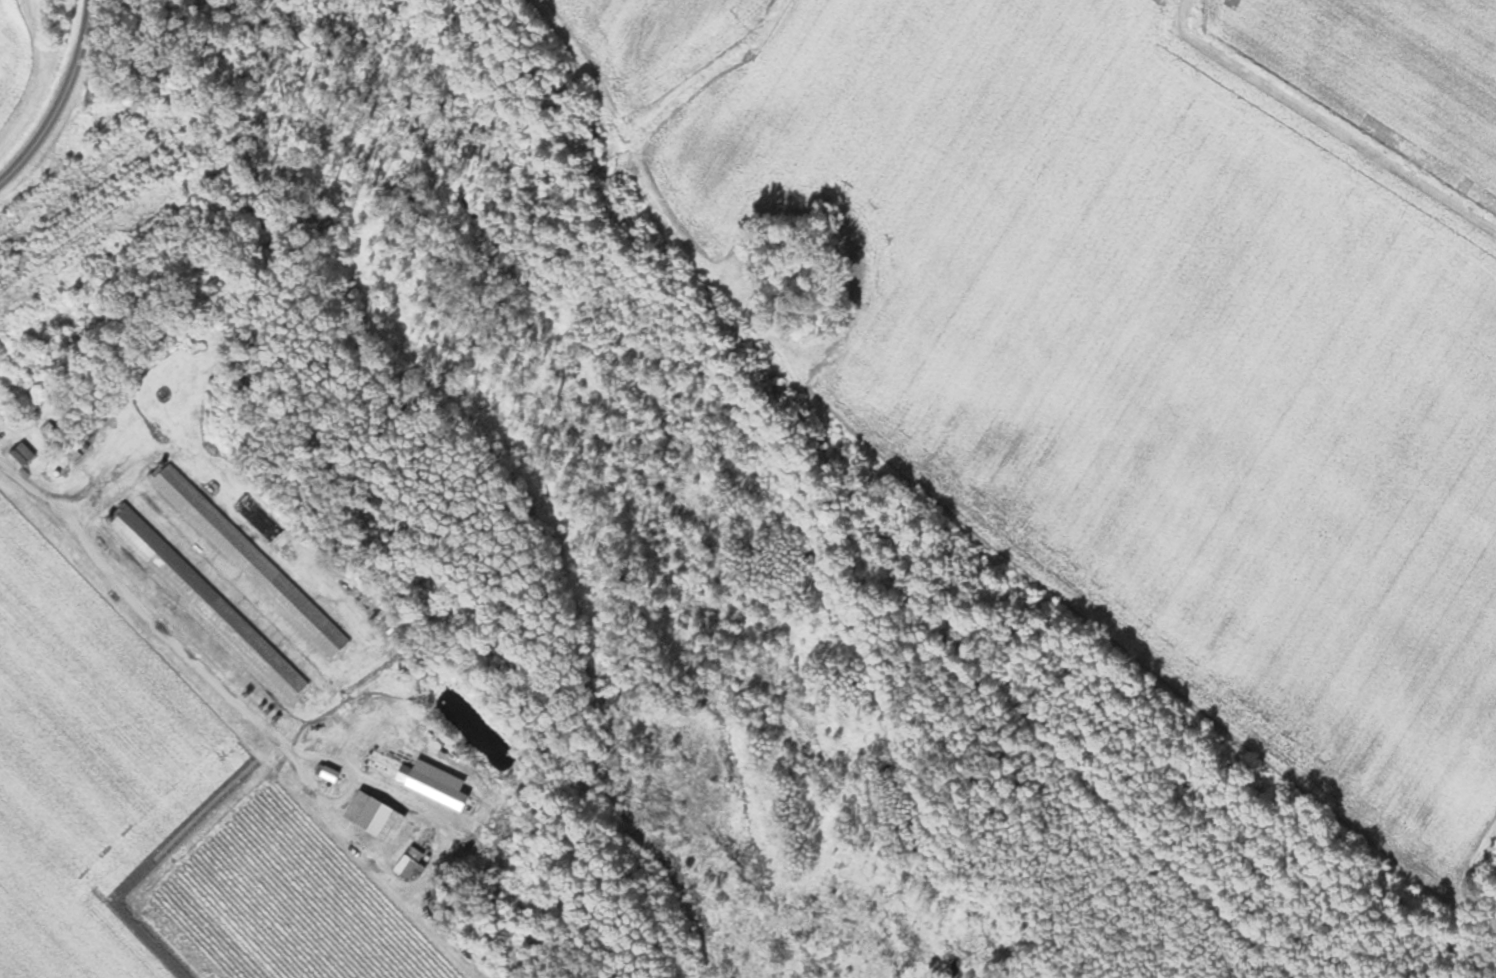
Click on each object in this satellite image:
road: (59, 98)
building: (71, 187)
building: (89, 247)
building: (21, 455)
building: (249, 560)
building: (207, 602)
road: (145, 612)
building: (330, 774)
building: (422, 782)
building: (375, 817)
building: (409, 863)

